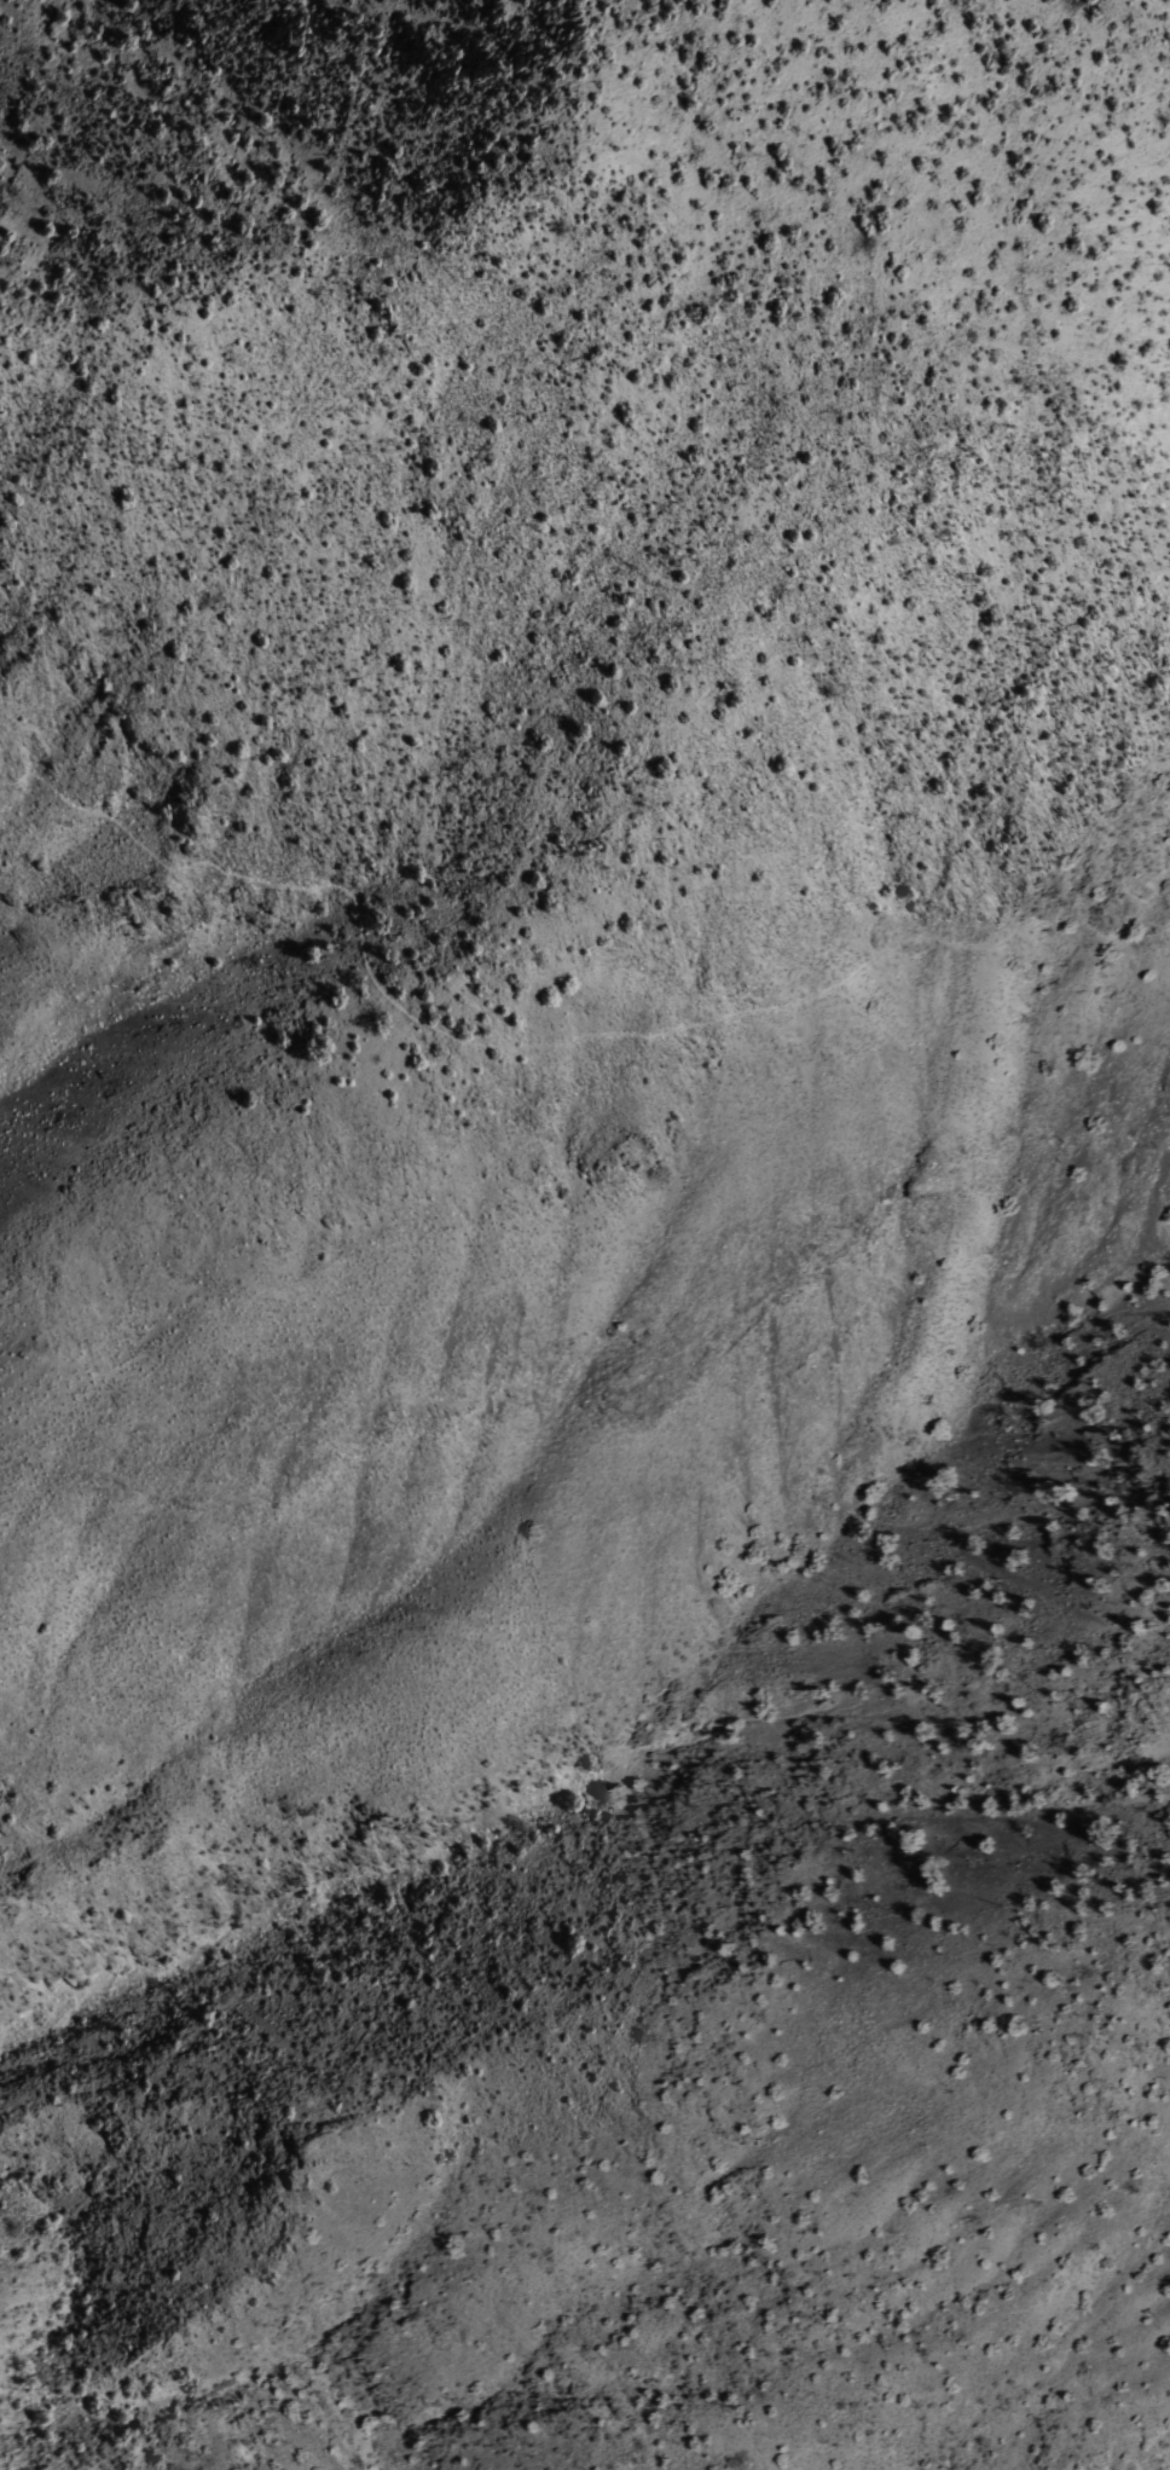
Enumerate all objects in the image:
road: (564, 1011)

